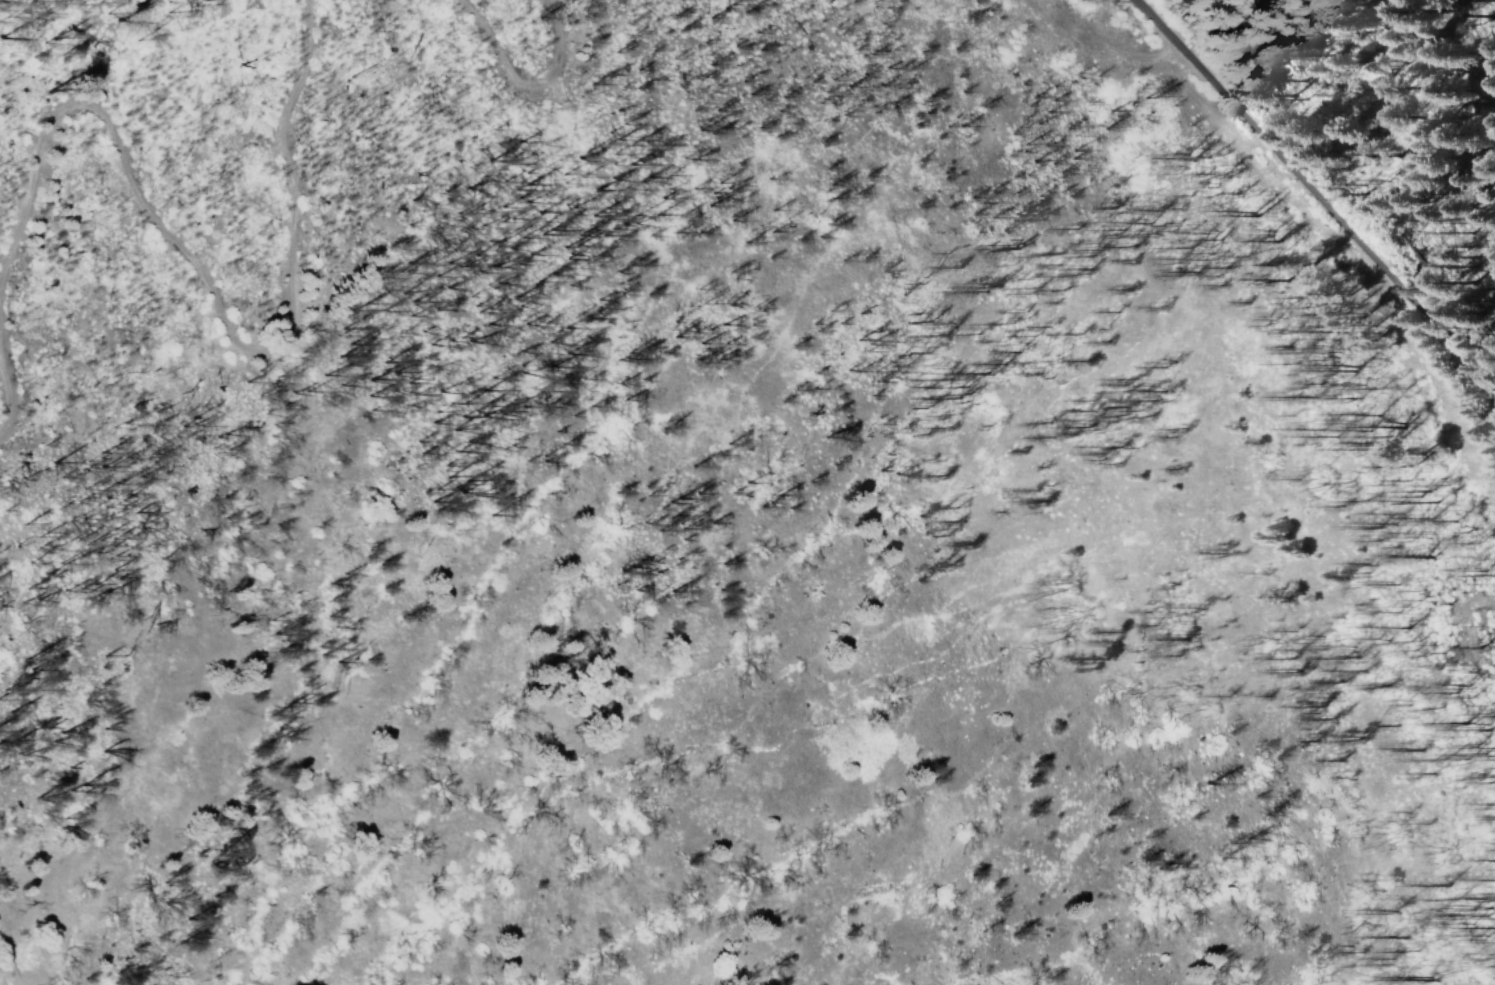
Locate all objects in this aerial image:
road: (1319, 171)

